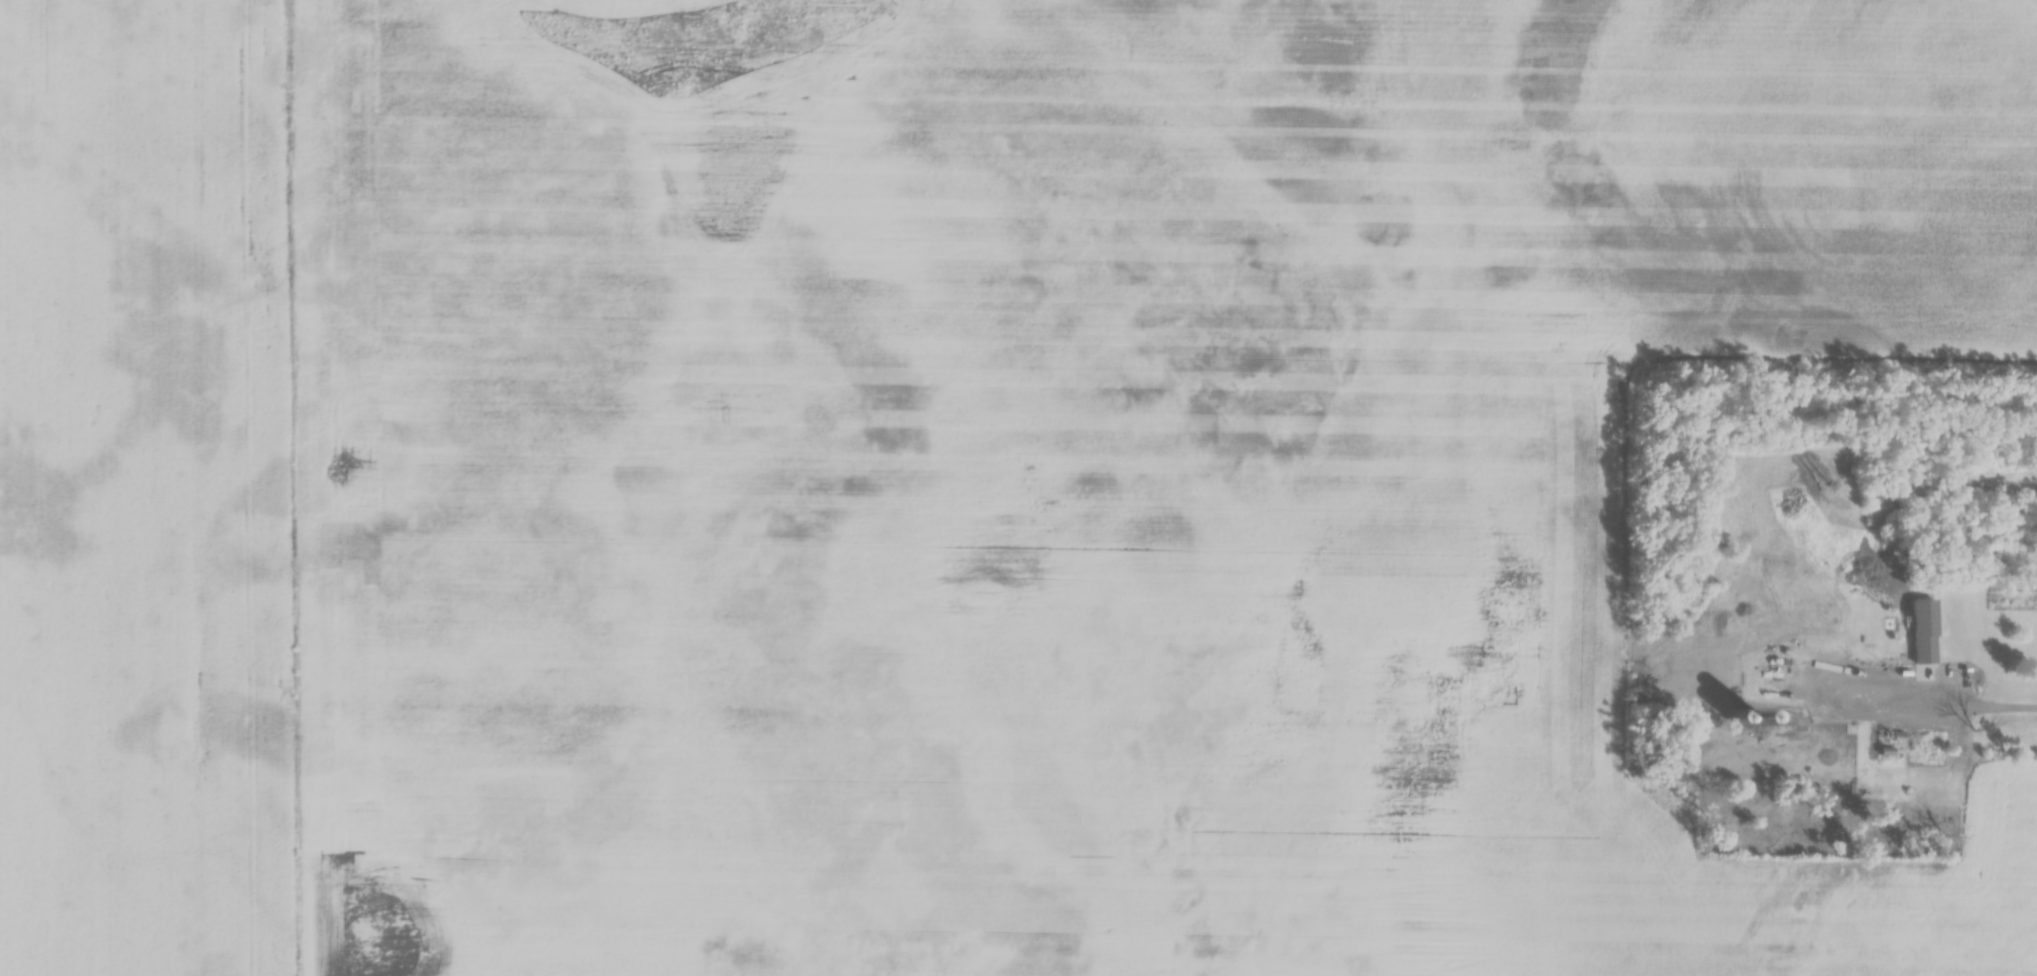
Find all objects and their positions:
crop: (1076, 474)
crop: (147, 489)
building: (1925, 630)
road: (1958, 707)

